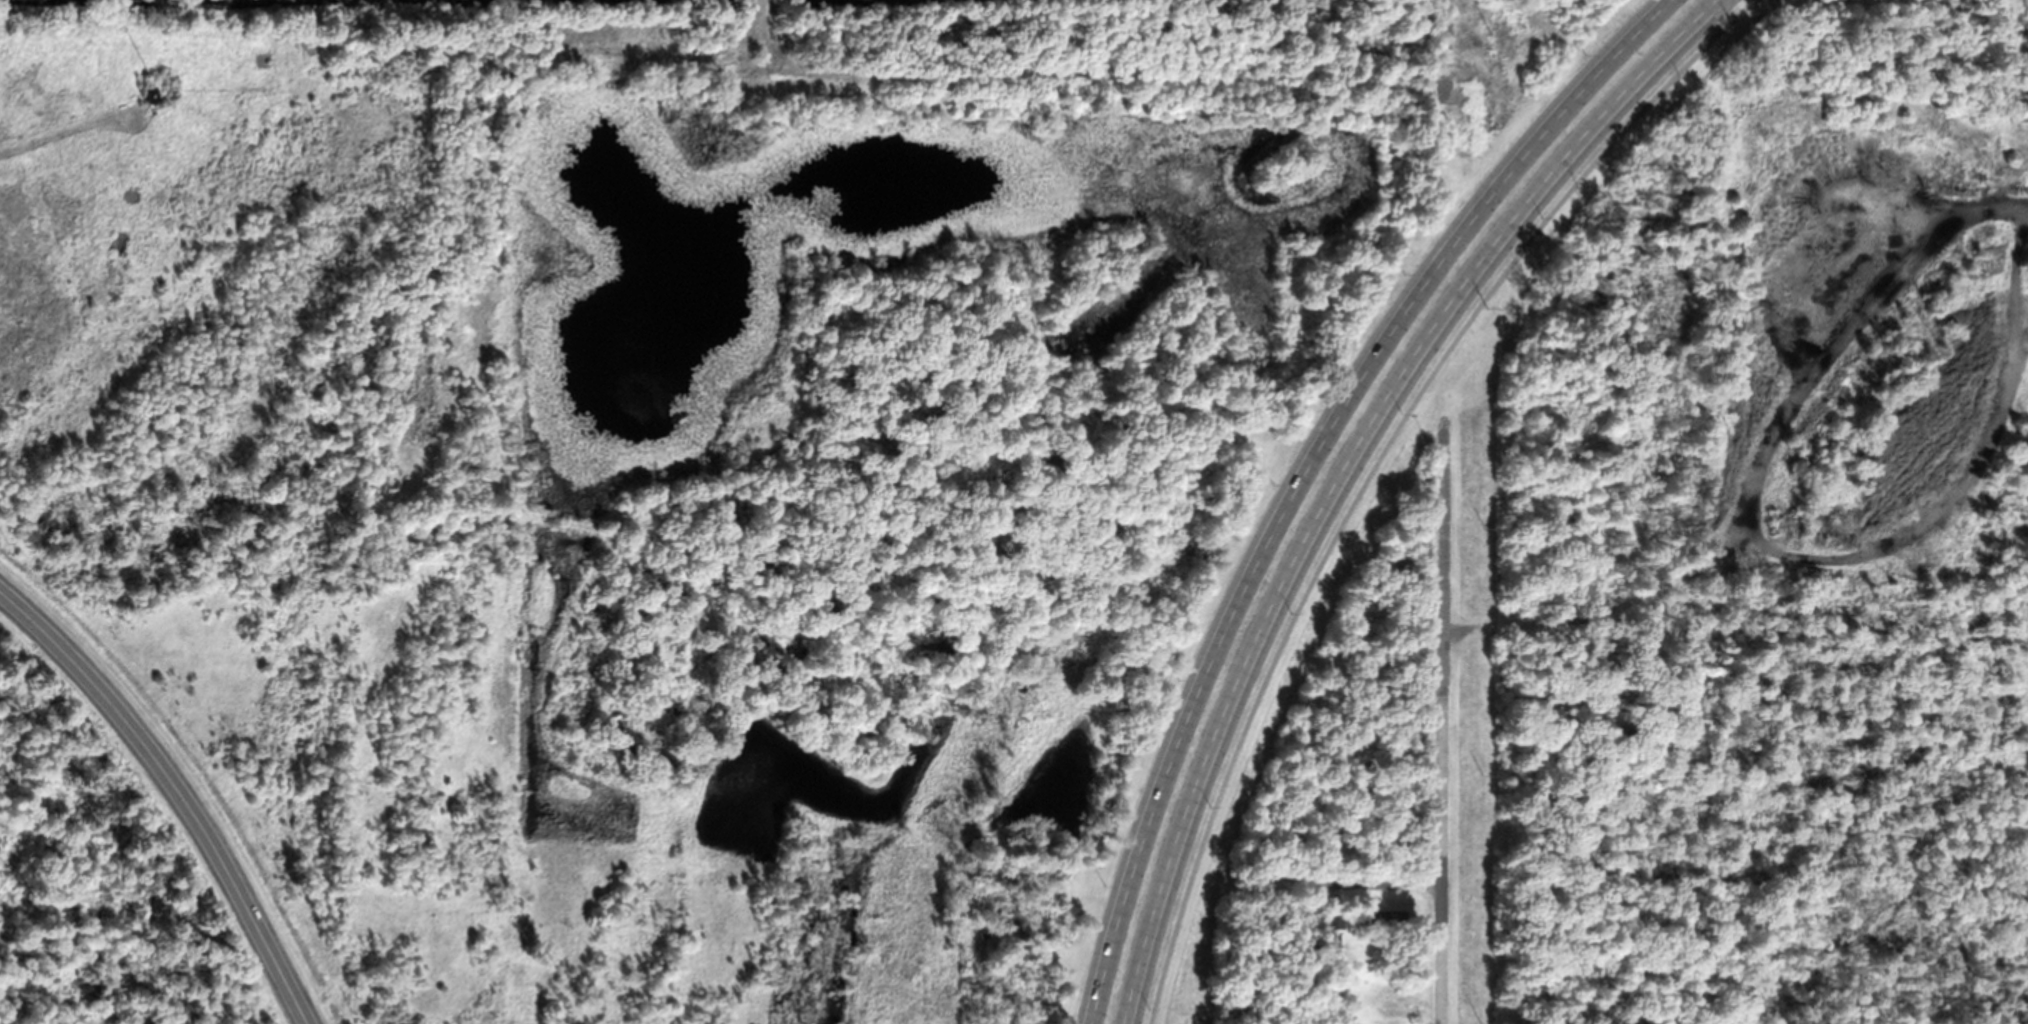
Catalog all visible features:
road: (1442, 51)
building: (152, 94)
road: (1375, 466)
road: (1341, 468)
road: (1304, 469)
road: (1440, 721)
road: (180, 788)
road: (1368, 882)
building: (1386, 917)
building: (1334, 918)
building: (1336, 939)

